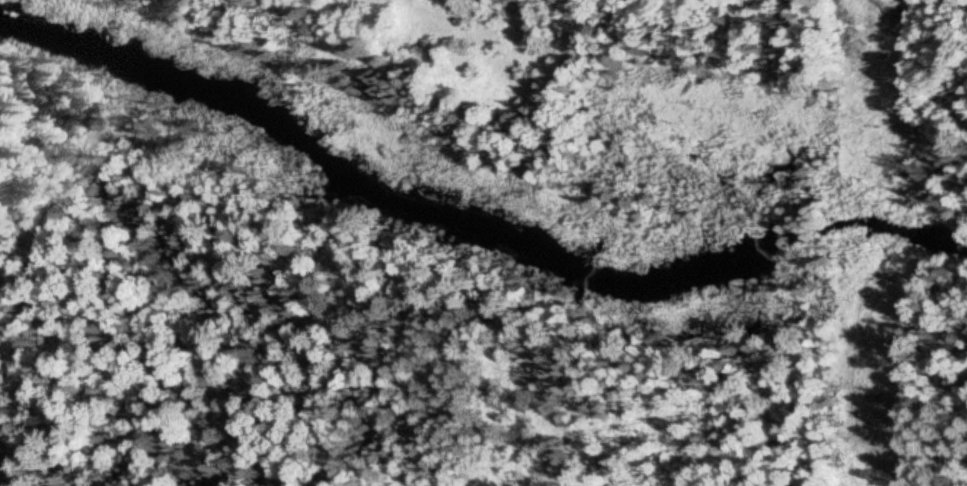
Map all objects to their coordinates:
road: (612, 105)

